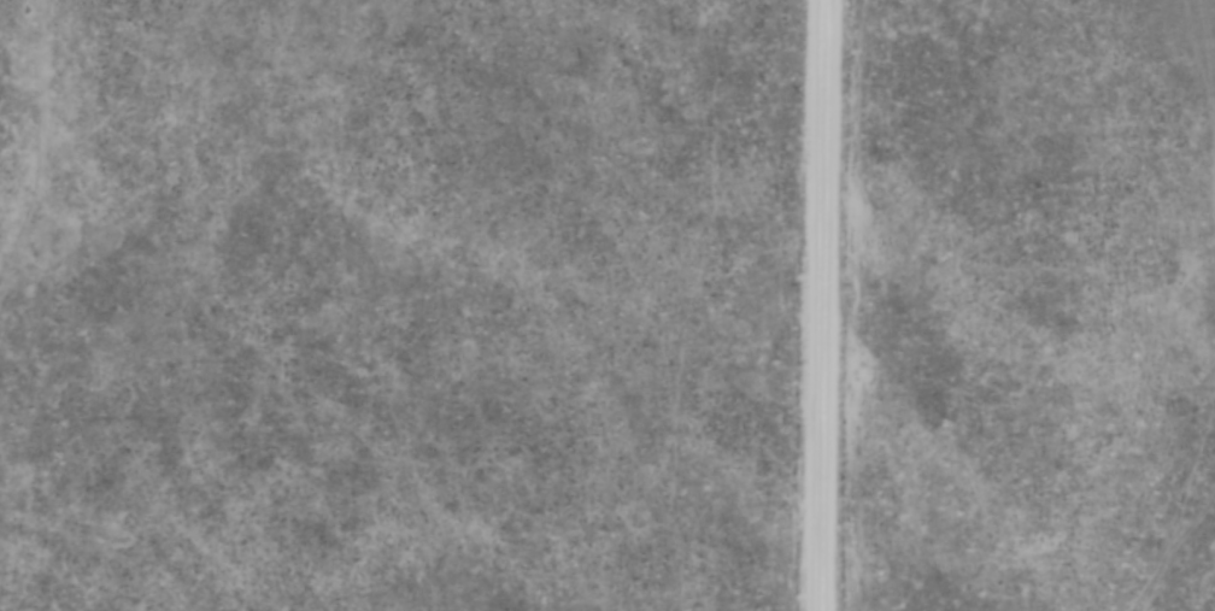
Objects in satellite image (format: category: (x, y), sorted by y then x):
road: (823, 305)

